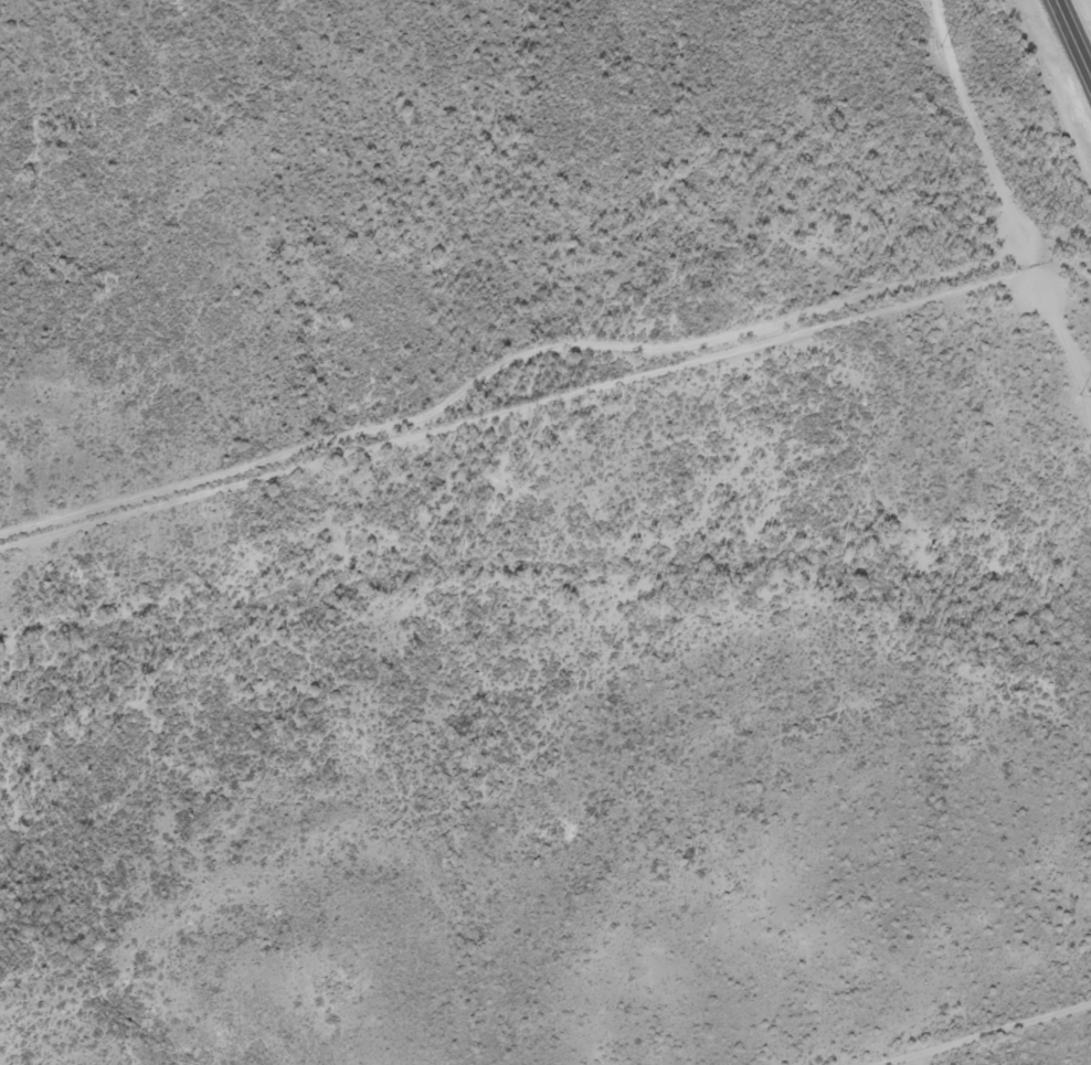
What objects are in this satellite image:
road: (1073, 36)
power tower: (944, 46)
power tower: (1083, 396)
road: (988, 1037)

